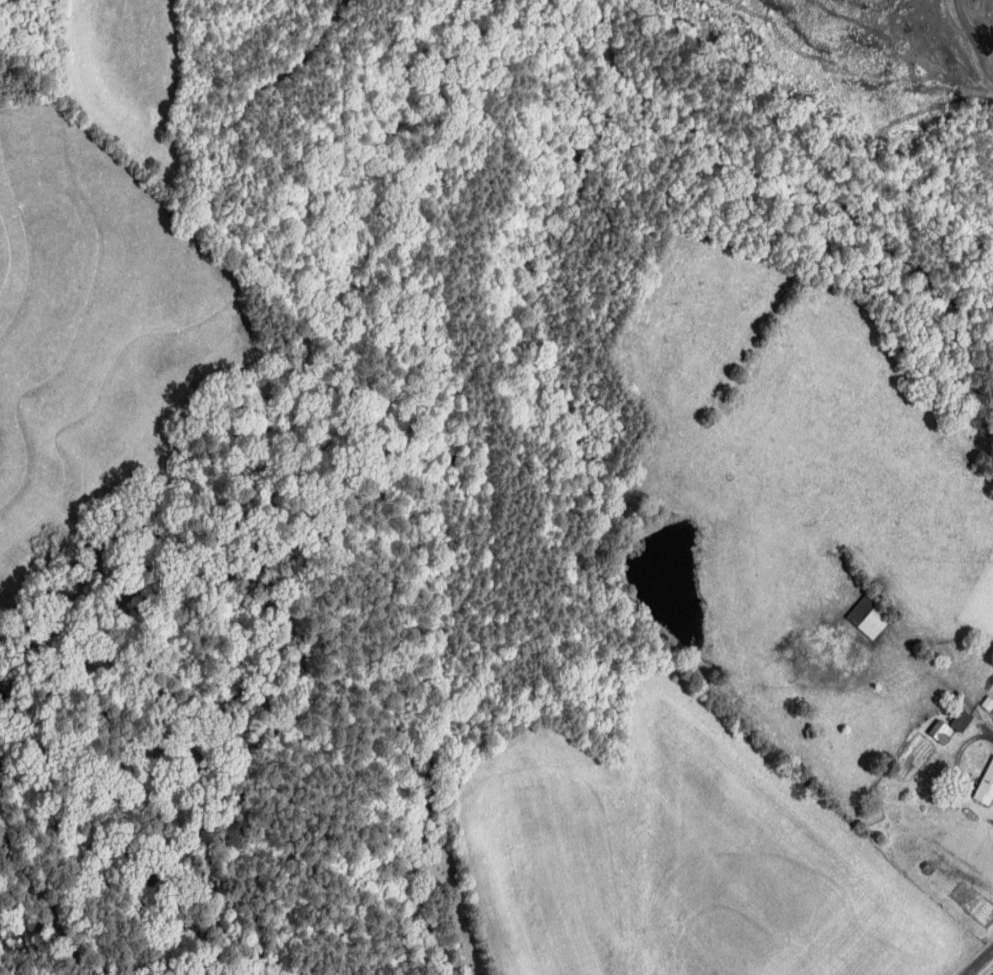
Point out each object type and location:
road: (974, 37)
building: (869, 617)
building: (988, 703)
building: (961, 720)
building: (941, 731)
building: (986, 787)
road: (979, 961)

